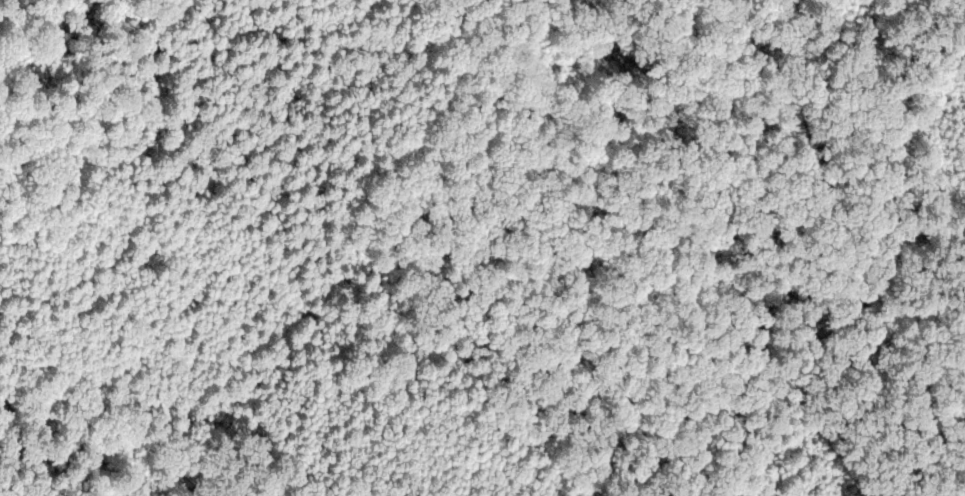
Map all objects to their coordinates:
road: (436, 52)
road: (791, 292)

